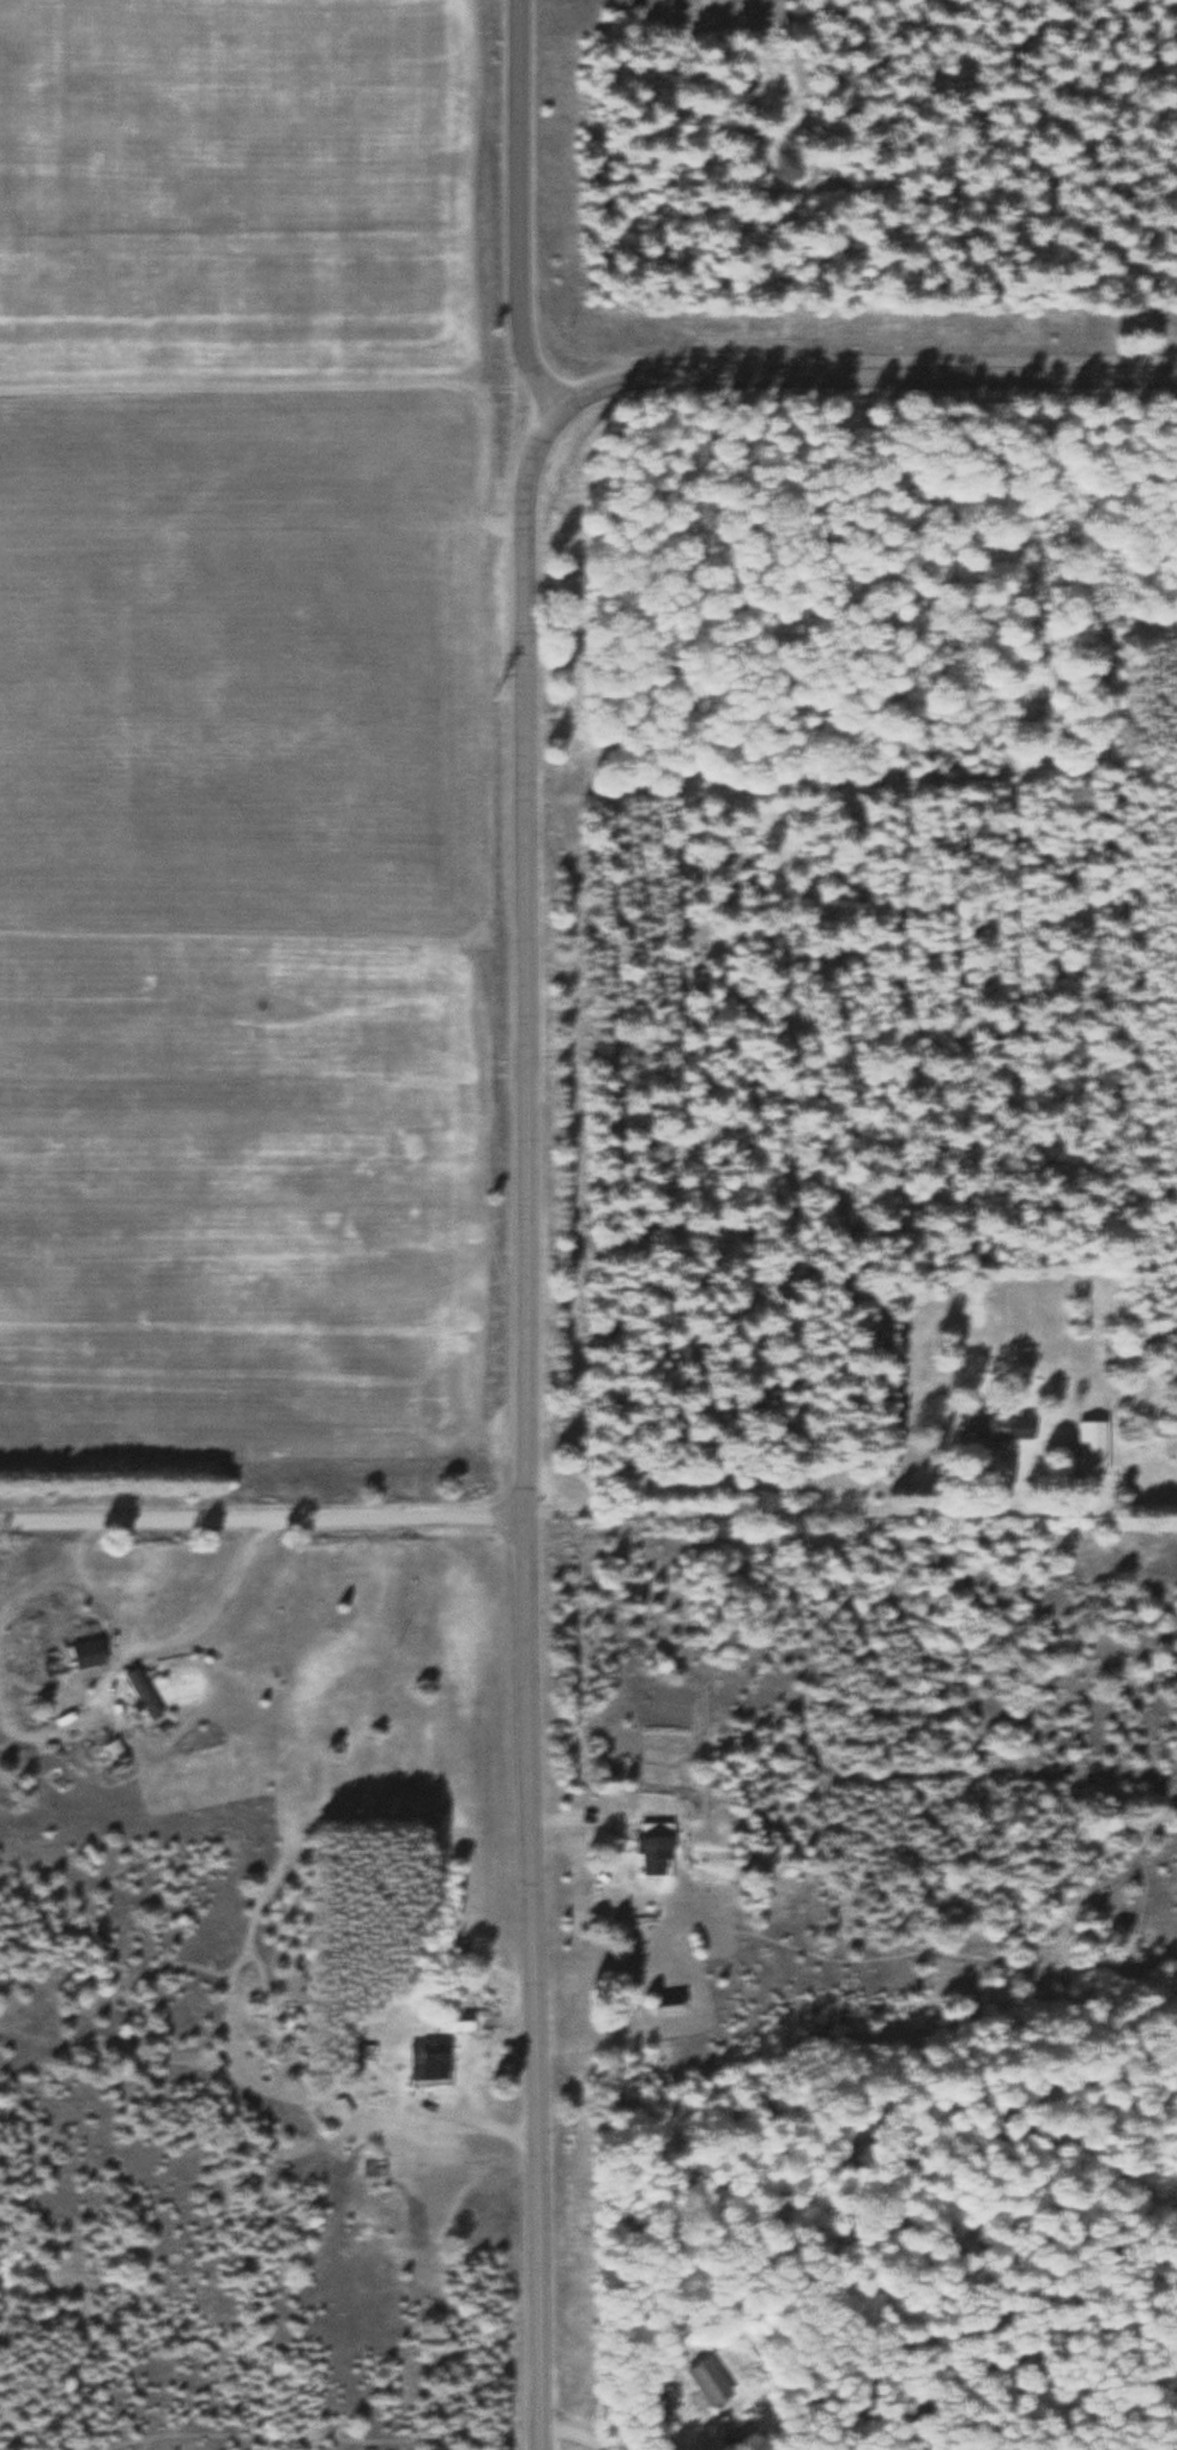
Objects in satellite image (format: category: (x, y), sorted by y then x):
road: (515, 211)
road: (862, 376)
building: (992, 1425)
road: (517, 1426)
building: (1087, 1447)
road: (792, 1509)
road: (258, 1519)
road: (210, 1613)
building: (86, 1647)
building: (141, 1688)
road: (575, 1820)
building: (648, 1847)
building: (663, 2005)
building: (453, 2022)
road: (465, 2051)
building: (423, 2062)
road: (464, 2116)
building: (368, 2168)
building: (705, 2382)

